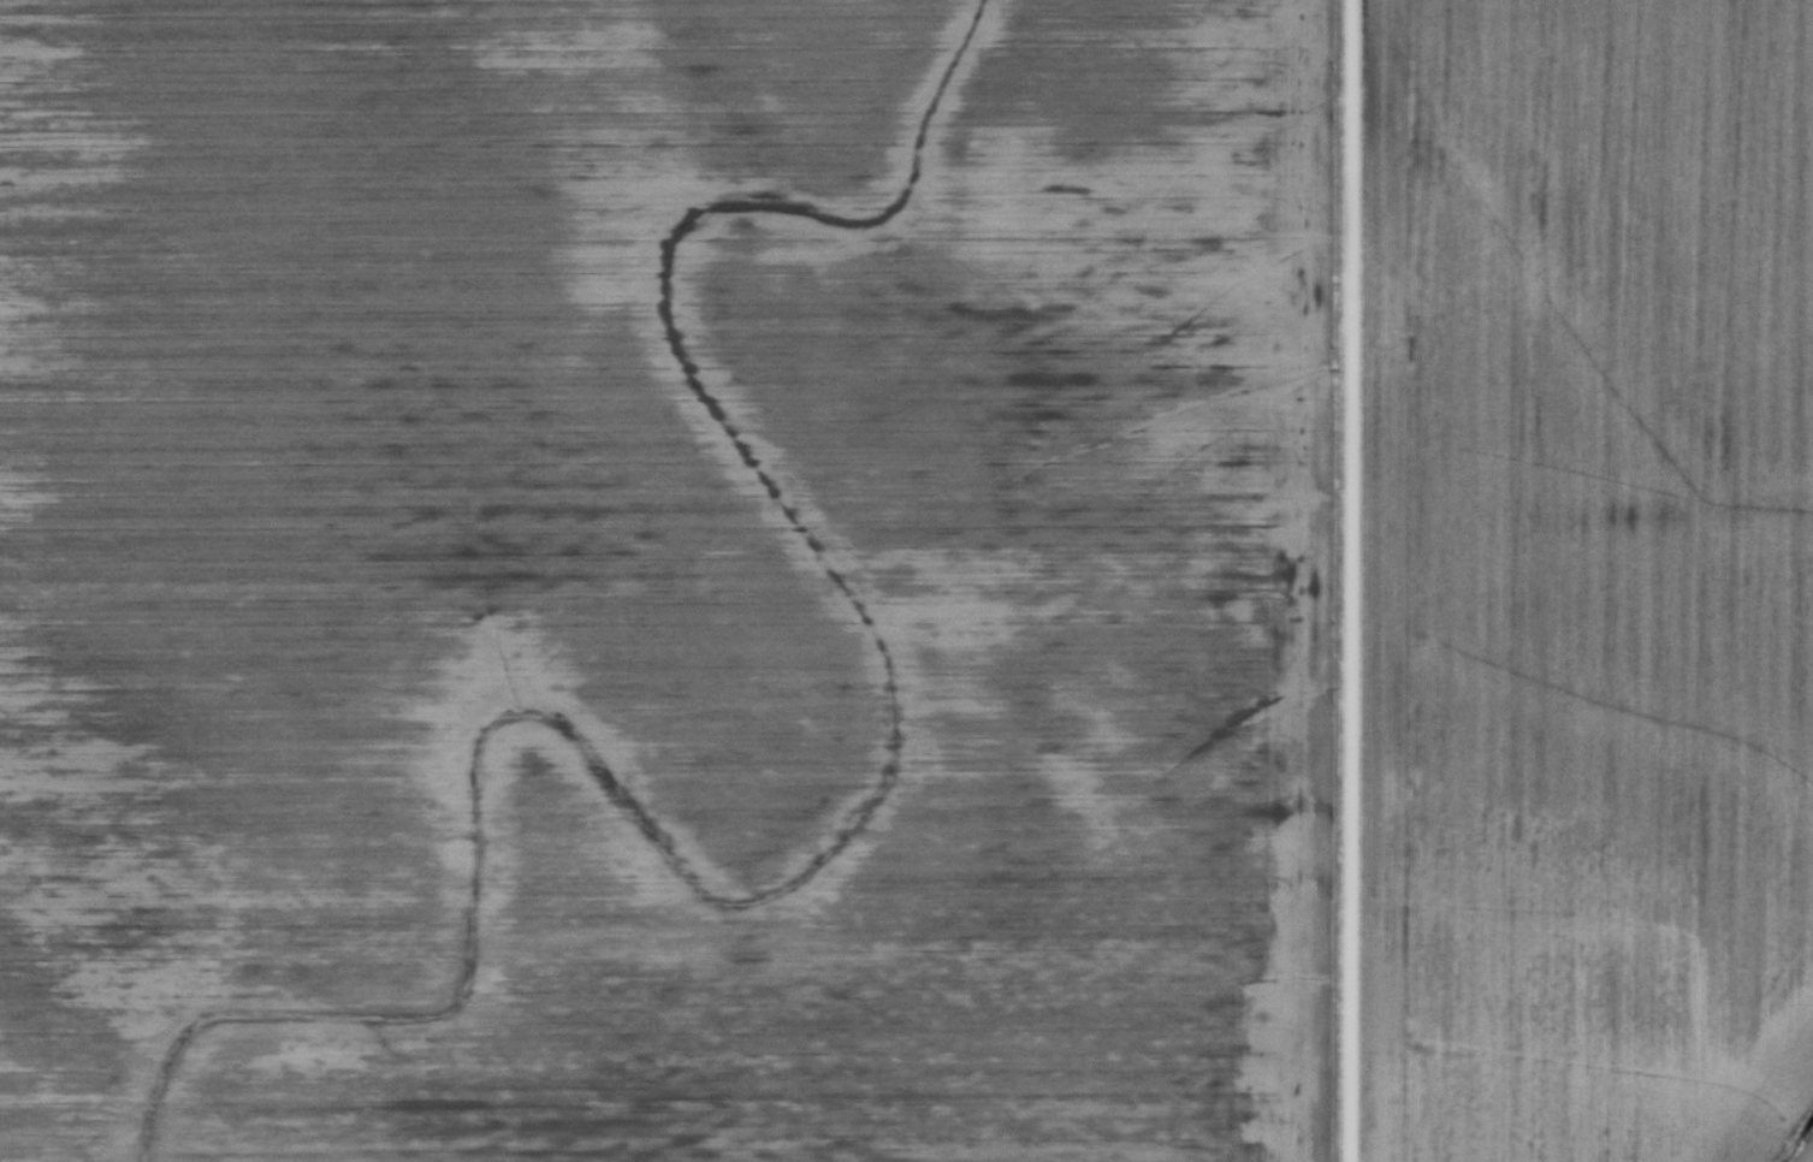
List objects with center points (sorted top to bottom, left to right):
road: (1292, 581)

